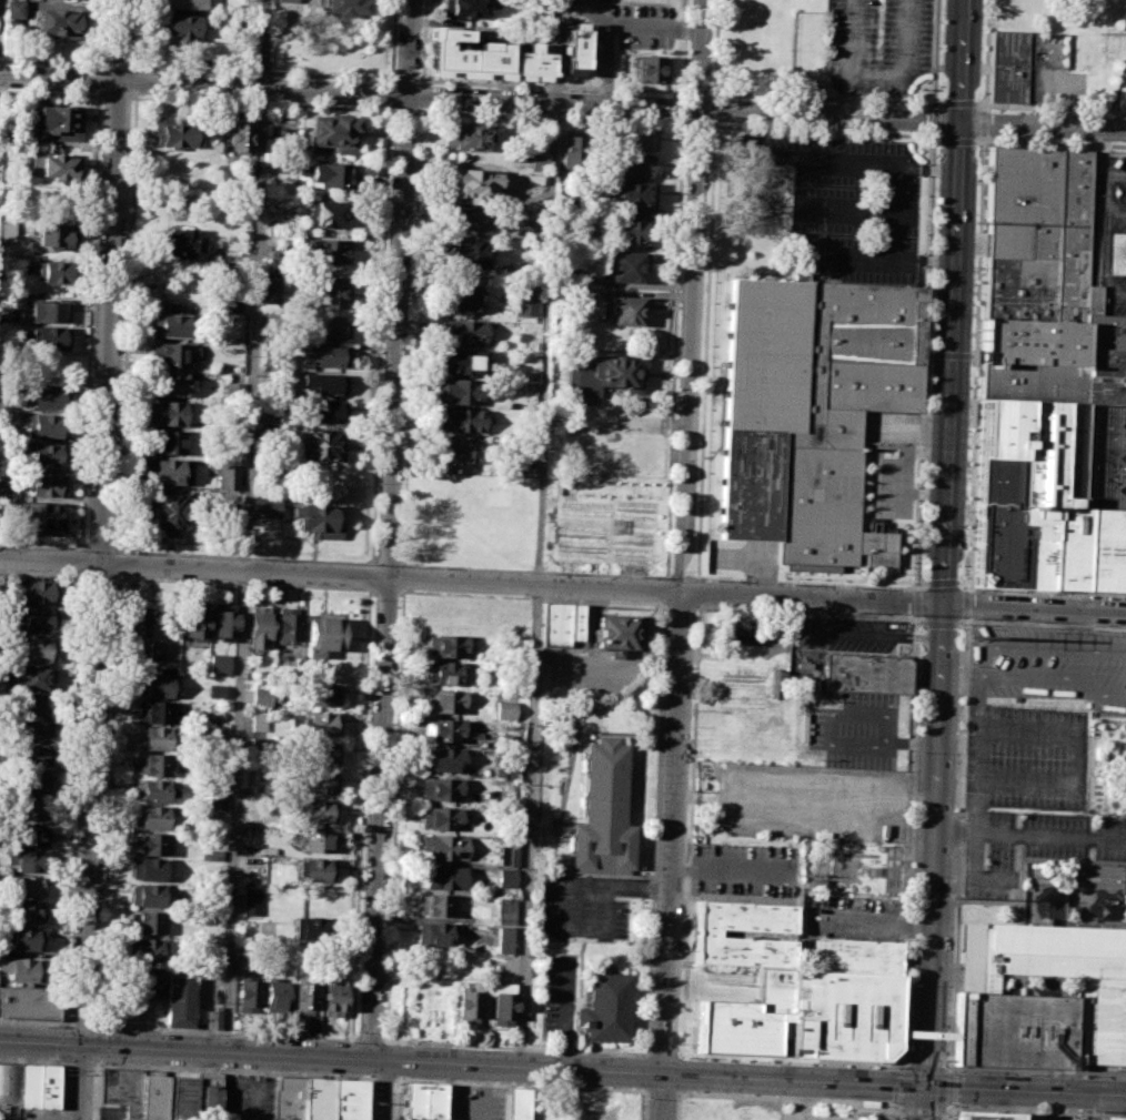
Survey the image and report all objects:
building: (285, 0)
building: (184, 3)
building: (344, 7)
building: (468, 7)
building: (13, 9)
building: (58, 21)
building: (180, 26)
road: (635, 28)
road: (100, 34)
road: (138, 34)
building: (248, 41)
road: (391, 41)
road: (423, 42)
parking lot: (876, 46)
road: (408, 48)
building: (574, 48)
road: (685, 48)
road: (715, 50)
road: (936, 54)
road: (986, 54)
building: (484, 58)
road: (846, 58)
road: (966, 61)
road: (51, 62)
road: (905, 63)
road: (117, 64)
building: (647, 69)
road: (263, 72)
building: (1028, 73)
road: (405, 79)
road: (98, 80)
road: (137, 81)
road: (552, 85)
road: (697, 92)
road: (50, 93)
road: (389, 94)
road: (421, 95)
road: (115, 97)
road: (826, 98)
road: (481, 99)
road: (261, 103)
road: (959, 103)
road: (683, 107)
road: (1049, 108)
road: (714, 110)
road: (404, 112)
road: (551, 118)
road: (935, 119)
building: (58, 121)
road: (984, 123)
road: (693, 124)
road: (1045, 125)
building: (333, 132)
road: (935, 133)
building: (175, 134)
building: (470, 137)
building: (239, 138)
building: (634, 139)
building: (573, 153)
road: (1100, 154)
building: (537, 162)
building: (632, 164)
building: (57, 165)
building: (328, 174)
building: (474, 183)
building: (630, 193)
park: (764, 203)
parking lot: (851, 203)
road: (823, 211)
building: (331, 213)
road: (1116, 213)
building: (464, 218)
power tower: (978, 222)
building: (7, 229)
building: (629, 232)
road: (1105, 232)
building: (52, 234)
building: (181, 244)
road: (929, 245)
building: (329, 251)
building: (468, 253)
building: (624, 266)
building: (53, 271)
building: (1046, 289)
building: (272, 291)
building: (330, 292)
building: (461, 296)
road: (692, 296)
building: (525, 301)
building: (231, 303)
building: (625, 310)
building: (47, 311)
road: (89, 322)
road: (127, 322)
building: (174, 325)
building: (328, 329)
building: (464, 331)
building: (50, 337)
road: (411, 337)
road: (673, 349)
building: (171, 354)
building: (325, 355)
building: (463, 362)
road: (975, 364)
building: (605, 376)
building: (322, 383)
building: (170, 384)
building: (233, 387)
building: (458, 391)
building: (46, 395)
building: (322, 410)
building: (169, 413)
building: (269, 415)
building: (810, 415)
building: (462, 420)
building: (46, 425)
building: (168, 443)
building: (319, 445)
building: (43, 455)
building: (454, 455)
road: (700, 458)
road: (375, 462)
building: (167, 472)
building: (227, 476)
building: (42, 484)
building: (1052, 498)
building: (267, 507)
building: (169, 511)
building: (41, 518)
building: (318, 521)
road: (101, 522)
road: (245, 526)
road: (539, 533)
road: (41, 546)
road: (100, 549)
road: (374, 561)
road: (80, 562)
road: (388, 562)
road: (118, 563)
road: (370, 564)
road: (534, 571)
road: (40, 574)
road: (95, 576)
road: (341, 576)
road: (371, 576)
road: (389, 577)
road: (403, 577)
road: (677, 577)
road: (693, 578)
road: (962, 581)
road: (942, 582)
road: (922, 583)
road: (370, 589)
road: (386, 591)
road: (664, 591)
road: (402, 592)
road: (1047, 592)
building: (39, 593)
road: (697, 593)
road: (532, 597)
road: (916, 603)
road: (661, 604)
road: (904, 604)
road: (967, 604)
road: (680, 606)
road: (697, 606)
road: (665, 607)
building: (38, 619)
building: (135, 620)
road: (945, 620)
building: (195, 623)
building: (223, 623)
building: (560, 624)
road: (941, 624)
building: (285, 626)
building: (258, 628)
road: (1075, 629)
building: (614, 632)
building: (322, 633)
parking lot: (867, 637)
power tower: (973, 637)
building: (449, 645)
building: (36, 648)
building: (157, 650)
building: (220, 664)
road: (1079, 664)
road: (977, 665)
building: (443, 673)
building: (866, 675)
building: (34, 678)
road: (365, 684)
building: (155, 685)
building: (215, 692)
building: (323, 694)
building: (262, 697)
building: (444, 700)
building: (32, 704)
building: (503, 708)
building: (153, 712)
building: (259, 720)
road: (694, 720)
building: (322, 723)
building: (31, 730)
building: (442, 730)
building: (152, 737)
building: (261, 744)
building: (322, 751)
building: (34, 756)
parking lot: (1025, 757)
building: (441, 759)
building: (155, 764)
building: (503, 767)
building: (30, 783)
building: (320, 783)
road: (1046, 784)
building: (154, 789)
building: (439, 789)
building: (215, 791)
road: (784, 799)
parking lot: (815, 800)
road: (109, 801)
building: (32, 809)
building: (601, 809)
building: (318, 810)
building: (150, 817)
building: (441, 817)
road: (70, 828)
building: (30, 835)
road: (1031, 836)
building: (316, 840)
road: (906, 840)
building: (148, 842)
road: (956, 844)
building: (442, 846)
parking lot: (1029, 847)
building: (507, 854)
building: (213, 855)
road: (672, 856)
building: (27, 860)
building: (147, 869)
building: (314, 869)
road: (730, 874)
building: (445, 877)
building: (505, 879)
road: (593, 885)
building: (30, 887)
building: (145, 896)
power tower: (952, 898)
building: (251, 902)
building: (433, 905)
building: (504, 910)
road: (604, 910)
building: (29, 911)
building: (1109, 911)
parking lot: (579, 912)
parking lot: (852, 917)
road: (873, 919)
building: (147, 921)
building: (311, 928)
building: (432, 934)
building: (704, 934)
building: (27, 939)
building: (503, 940)
building: (147, 950)
building: (854, 956)
building: (24, 969)
building: (151, 979)
street lamp: (906, 985)
building: (273, 993)
building: (247, 995)
parking lot: (557, 997)
building: (1038, 997)
building: (302, 998)
building: (179, 1000)
building: (332, 1000)
building: (30, 1002)
building: (469, 1002)
building: (605, 1007)
building: (503, 1009)
road: (565, 1016)
building: (806, 1016)
building: (212, 1018)
road: (67, 1021)
street lamp: (40, 1025)
road: (83, 1025)
street lamp: (131, 1030)
road: (228, 1032)
street lamp: (238, 1036)
road: (370, 1040)
street lamp: (349, 1041)
road: (41, 1043)
road: (98, 1043)
street lamp: (680, 1043)
traffic signals: (82, 1046)
street lamp: (455, 1046)
road: (515, 1047)
street lamp: (579, 1052)
road: (662, 1052)
street lamp: (691, 1057)
road: (787, 1057)
road: (33, 1060)
street lamp: (778, 1060)
road: (95, 1062)
road: (80, 1064)
street lamp: (883, 1066)
street lamp: (64, 1068)
road: (1038, 1070)
road: (233, 1071)
road: (603, 1071)
street lamp: (973, 1071)
street lamp: (1070, 1074)
road: (383, 1078)
road: (80, 1082)
building: (8, 1083)
road: (519, 1083)
building: (28, 1086)
building: (48, 1086)
road: (897, 1086)
road: (954, 1086)
traffic signals: (928, 1087)
building: (121, 1089)
road: (385, 1090)
road: (660, 1090)
road: (63, 1091)
road: (94, 1092)
road: (484, 1092)
building: (207, 1096)
building: (153, 1097)
parking lot: (248, 1097)
building: (181, 1098)
building: (288, 1098)
building: (316, 1098)
street lamp: (645, 1098)
road: (790, 1098)
building: (349, 1099)
road: (371, 1099)
road: (395, 1099)
road: (803, 1100)
building: (422, 1101)
street lamp: (373, 1102)
parking lot: (485, 1102)
building: (516, 1103)
road: (642, 1104)
road: (954, 1104)
road: (677, 1106)
road: (894, 1106)
road: (867, 1107)
road: (1035, 1109)
road: (922, 1110)
road: (949, 1111)
road: (891, 1114)
building: (986, 1114)
parking lot: (812, 1117)
parking lot: (1050, 1117)
building: (1113, 1118)

